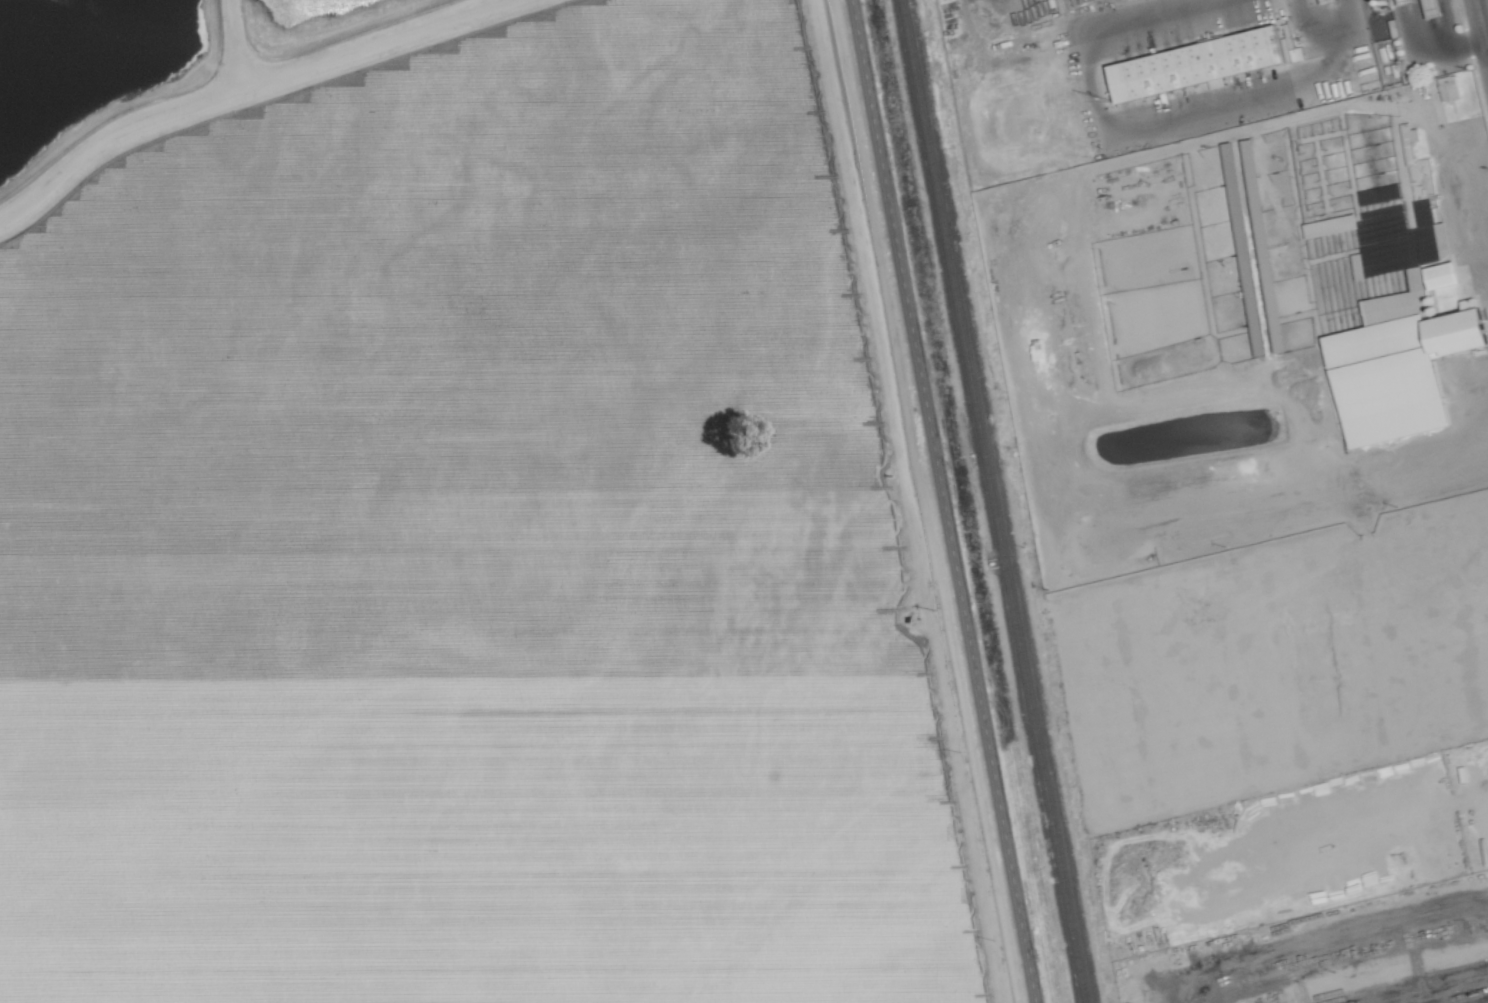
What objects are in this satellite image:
road: (1486, 4)
building: (1200, 65)
building: (1446, 86)
road: (258, 94)
building: (1405, 136)
road: (1241, 180)
building: (1326, 225)
building: (1396, 240)
building: (1273, 338)
building: (1394, 347)
road: (1426, 452)
road: (943, 501)
railway: (993, 501)

